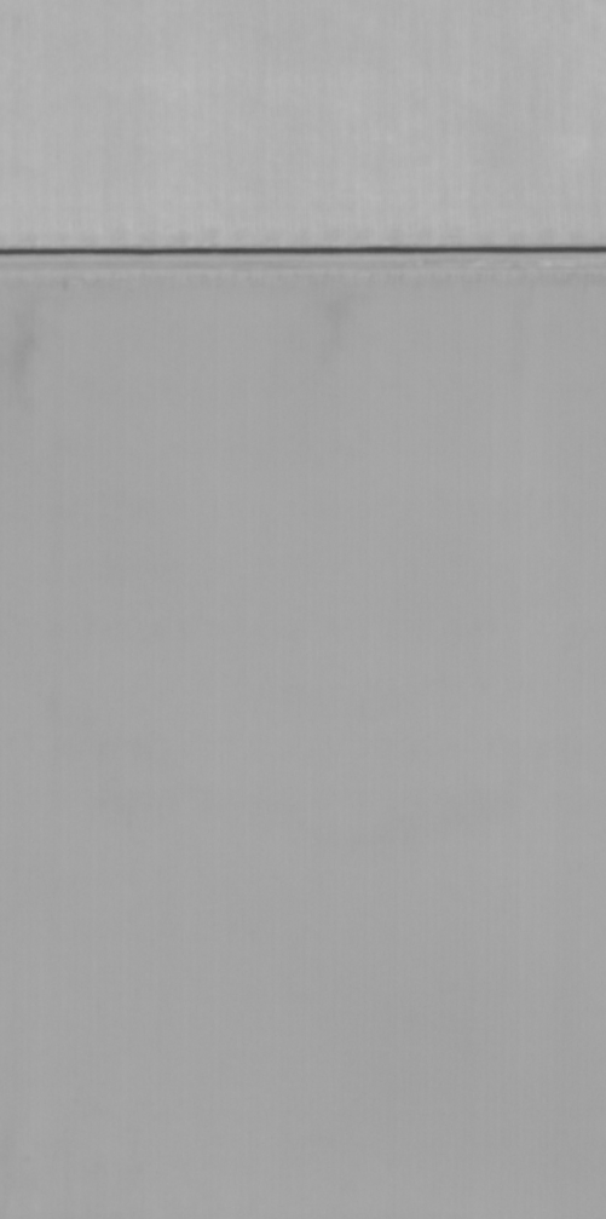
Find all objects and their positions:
crop: (302, 609)

